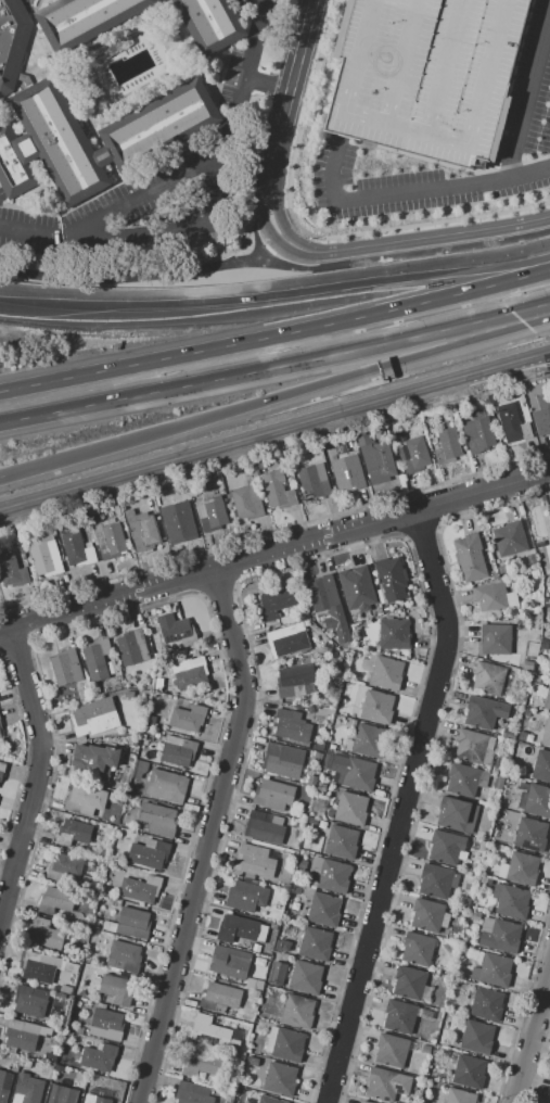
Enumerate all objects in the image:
building: (86, 21)
building: (210, 23)
building: (12, 41)
building: (425, 75)
parking lot: (425, 75)
road: (266, 84)
road: (526, 92)
road: (289, 93)
building: (159, 126)
building: (48, 145)
building: (103, 156)
road: (183, 173)
parking lot: (159, 182)
road: (410, 191)
road: (254, 231)
road: (287, 231)
road: (174, 232)
road: (463, 236)
road: (274, 241)
road: (272, 245)
road: (353, 251)
road: (402, 254)
road: (127, 275)
road: (276, 293)
road: (276, 335)
road: (276, 368)
road: (312, 386)
building: (542, 415)
building: (513, 423)
road: (274, 431)
building: (478, 433)
building: (399, 436)
building: (448, 447)
building: (401, 451)
building: (415, 456)
building: (374, 458)
road: (37, 465)
building: (347, 468)
building: (314, 480)
building: (277, 489)
building: (247, 502)
building: (549, 508)
building: (210, 512)
building: (182, 520)
building: (142, 530)
building: (510, 538)
building: (110, 540)
building: (540, 544)
building: (77, 549)
road: (274, 551)
building: (44, 556)
building: (470, 557)
building: (12, 571)
building: (495, 574)
building: (391, 580)
building: (356, 584)
road: (218, 593)
building: (322, 593)
building: (495, 599)
building: (274, 603)
building: (176, 630)
building: (341, 634)
building: (394, 634)
building: (496, 638)
building: (287, 641)
building: (132, 648)
building: (97, 659)
building: (66, 668)
building: (189, 671)
building: (386, 673)
building: (488, 679)
building: (294, 680)
building: (159, 681)
building: (534, 687)
building: (95, 690)
building: (84, 694)
building: (128, 695)
building: (376, 707)
building: (549, 708)
building: (310, 709)
building: (481, 712)
road: (51, 717)
building: (94, 718)
building: (188, 718)
building: (0, 719)
building: (151, 721)
building: (351, 723)
building: (292, 724)
building: (0, 726)
building: (546, 733)
building: (0, 734)
building: (522, 736)
building: (528, 738)
building: (369, 740)
building: (319, 746)
building: (474, 747)
building: (178, 750)
building: (94, 760)
building: (282, 760)
building: (325, 764)
building: (541, 765)
road: (36, 770)
building: (2, 771)
building: (355, 772)
building: (311, 779)
building: (465, 779)
building: (499, 781)
building: (167, 786)
building: (519, 794)
building: (273, 795)
building: (84, 799)
building: (538, 801)
road: (400, 808)
building: (351, 809)
building: (457, 814)
building: (158, 820)
building: (265, 827)
building: (111, 832)
building: (73, 833)
building: (530, 835)
road: (206, 837)
building: (342, 841)
building: (482, 846)
building: (447, 848)
building: (150, 853)
building: (254, 861)
building: (63, 865)
building: (521, 869)
building: (333, 876)
building: (86, 880)
building: (437, 880)
building: (140, 889)
building: (246, 897)
building: (55, 900)
building: (511, 900)
building: (464, 902)
building: (324, 910)
building: (427, 915)
building: (475, 916)
building: (445, 921)
building: (132, 924)
building: (105, 925)
building: (273, 926)
building: (240, 930)
building: (44, 935)
building: (500, 935)
building: (316, 944)
building: (284, 947)
building: (256, 948)
building: (418, 949)
building: (464, 949)
building: (124, 956)
building: (259, 961)
building: (230, 962)
building: (43, 967)
building: (494, 969)
building: (449, 972)
building: (277, 974)
building: (306, 978)
building: (409, 982)
building: (254, 985)
building: (116, 989)
building: (66, 990)
building: (425, 993)
building: (220, 998)
building: (30, 1001)
building: (486, 1004)
building: (297, 1012)
building: (400, 1016)
building: (106, 1025)
building: (80, 1030)
road: (530, 1030)
building: (212, 1031)
building: (22, 1035)
building: (477, 1037)
building: (285, 1043)
building: (412, 1045)
building: (392, 1050)
building: (426, 1050)
building: (100, 1056)
building: (51, 1057)
building: (60, 1057)
building: (68, 1058)
building: (252, 1061)
building: (202, 1063)
building: (469, 1073)
building: (280, 1079)
building: (406, 1081)
building: (4, 1085)
building: (382, 1085)
building: (29, 1091)
building: (193, 1093)
building: (63, 1094)
building: (460, 1096)
building: (250, 1098)
building: (95, 1099)
building: (269, 1100)
building: (549, 1100)
building: (366, 1102)

